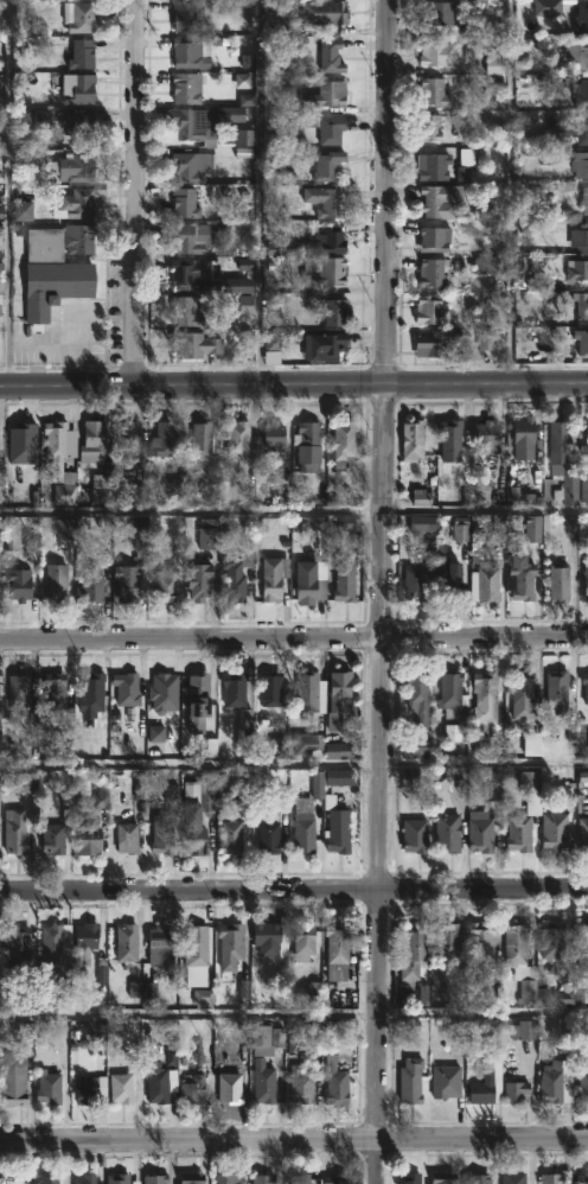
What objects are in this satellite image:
building: (547, 6)
building: (325, 12)
building: (440, 12)
building: (188, 15)
building: (77, 17)
building: (582, 17)
building: (577, 50)
building: (187, 51)
building: (79, 55)
building: (440, 55)
building: (331, 56)
building: (496, 64)
building: (78, 87)
building: (186, 87)
building: (330, 93)
building: (434, 93)
building: (581, 93)
building: (43, 121)
building: (78, 122)
building: (200, 122)
building: (582, 122)
building: (430, 127)
building: (327, 128)
building: (245, 140)
building: (580, 164)
building: (79, 165)
building: (193, 165)
building: (326, 165)
building: (434, 167)
road: (512, 191)
road: (136, 192)
road: (261, 192)
road: (5, 193)
building: (439, 200)
building: (584, 200)
building: (77, 202)
building: (327, 202)
building: (185, 203)
building: (194, 237)
building: (435, 238)
building: (580, 238)
building: (331, 240)
building: (56, 268)
building: (433, 270)
building: (190, 272)
building: (327, 272)
building: (573, 272)
building: (581, 303)
building: (430, 310)
building: (186, 311)
building: (335, 311)
road: (66, 339)
building: (581, 340)
building: (442, 342)
building: (198, 343)
building: (487, 344)
building: (326, 346)
road: (294, 384)
building: (450, 435)
building: (274, 437)
building: (486, 437)
building: (525, 437)
building: (587, 437)
building: (164, 439)
building: (414, 439)
building: (92, 441)
building: (129, 441)
building: (236, 443)
building: (341, 443)
building: (199, 445)
building: (307, 446)
building: (62, 460)
building: (560, 469)
building: (584, 489)
road: (294, 513)
building: (423, 524)
building: (207, 534)
building: (237, 575)
building: (275, 577)
building: (449, 579)
building: (200, 580)
building: (345, 580)
building: (523, 580)
building: (587, 580)
building: (486, 581)
building: (560, 581)
building: (57, 583)
building: (127, 583)
building: (415, 583)
building: (18, 584)
building: (91, 584)
building: (166, 584)
building: (309, 587)
road: (382, 592)
road: (293, 638)
building: (584, 685)
building: (234, 688)
building: (271, 689)
building: (55, 690)
building: (127, 690)
building: (557, 690)
building: (18, 692)
building: (486, 693)
building: (91, 694)
building: (523, 694)
building: (307, 695)
building: (418, 695)
building: (450, 695)
building: (339, 699)
building: (197, 701)
building: (244, 726)
building: (308, 743)
building: (339, 751)
road: (294, 765)
building: (413, 781)
building: (331, 782)
building: (531, 783)
building: (496, 785)
building: (206, 795)
building: (303, 826)
building: (337, 826)
building: (556, 830)
building: (448, 832)
building: (480, 832)
building: (520, 832)
building: (15, 833)
building: (583, 833)
building: (162, 834)
building: (231, 835)
building: (415, 835)
building: (52, 838)
building: (127, 838)
building: (268, 838)
building: (196, 839)
building: (88, 840)
road: (294, 889)
building: (267, 938)
building: (554, 940)
building: (581, 940)
building: (302, 941)
building: (447, 941)
building: (481, 941)
building: (18, 942)
building: (126, 942)
building: (84, 943)
building: (161, 944)
building: (197, 946)
building: (230, 946)
building: (55, 950)
building: (338, 950)
building: (415, 950)
building: (520, 961)
road: (293, 1014)
building: (524, 1031)
building: (268, 1036)
building: (62, 1037)
building: (296, 1039)
building: (17, 1068)
building: (446, 1078)
building: (156, 1081)
building: (411, 1081)
building: (557, 1081)
building: (263, 1083)
building: (301, 1083)
building: (337, 1087)
building: (583, 1087)
building: (121, 1088)
building: (230, 1088)
building: (49, 1089)
building: (87, 1089)
building: (194, 1089)
building: (516, 1091)
building: (480, 1093)
road: (294, 1138)
building: (443, 1177)
building: (513, 1177)
building: (583, 1177)
building: (49, 1178)
building: (84, 1178)
building: (117, 1178)
building: (155, 1178)
building: (192, 1178)
building: (226, 1178)
building: (338, 1178)
building: (409, 1178)
building: (478, 1178)
building: (554, 1178)
building: (13, 1179)
building: (263, 1179)
building: (305, 1179)

